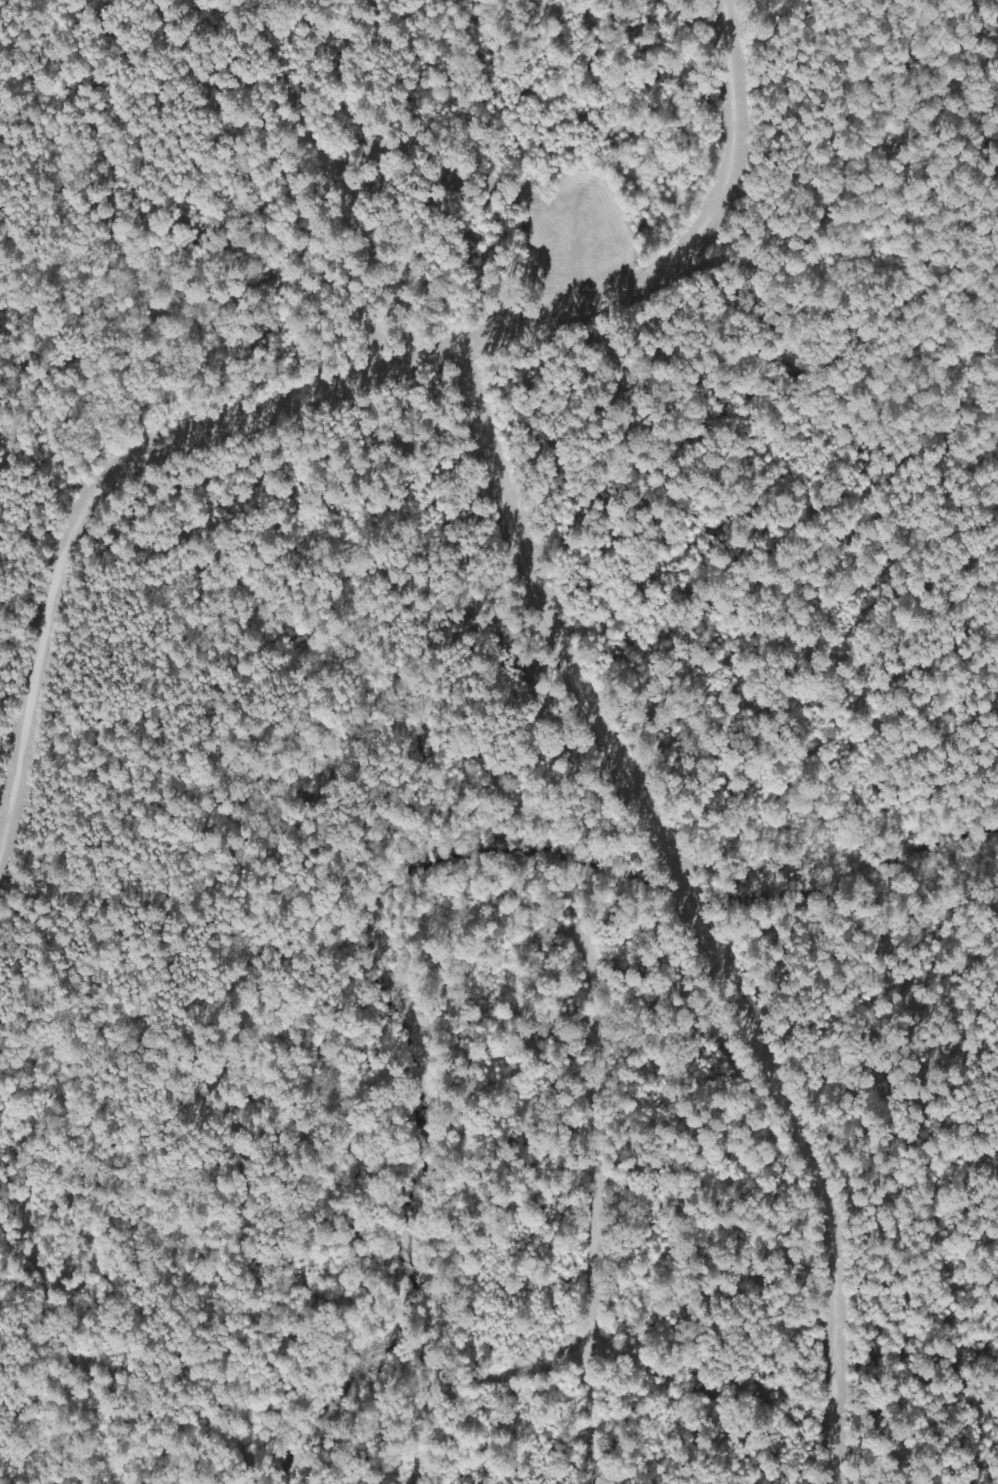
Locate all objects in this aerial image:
road: (131, 309)
road: (348, 427)
road: (724, 922)

